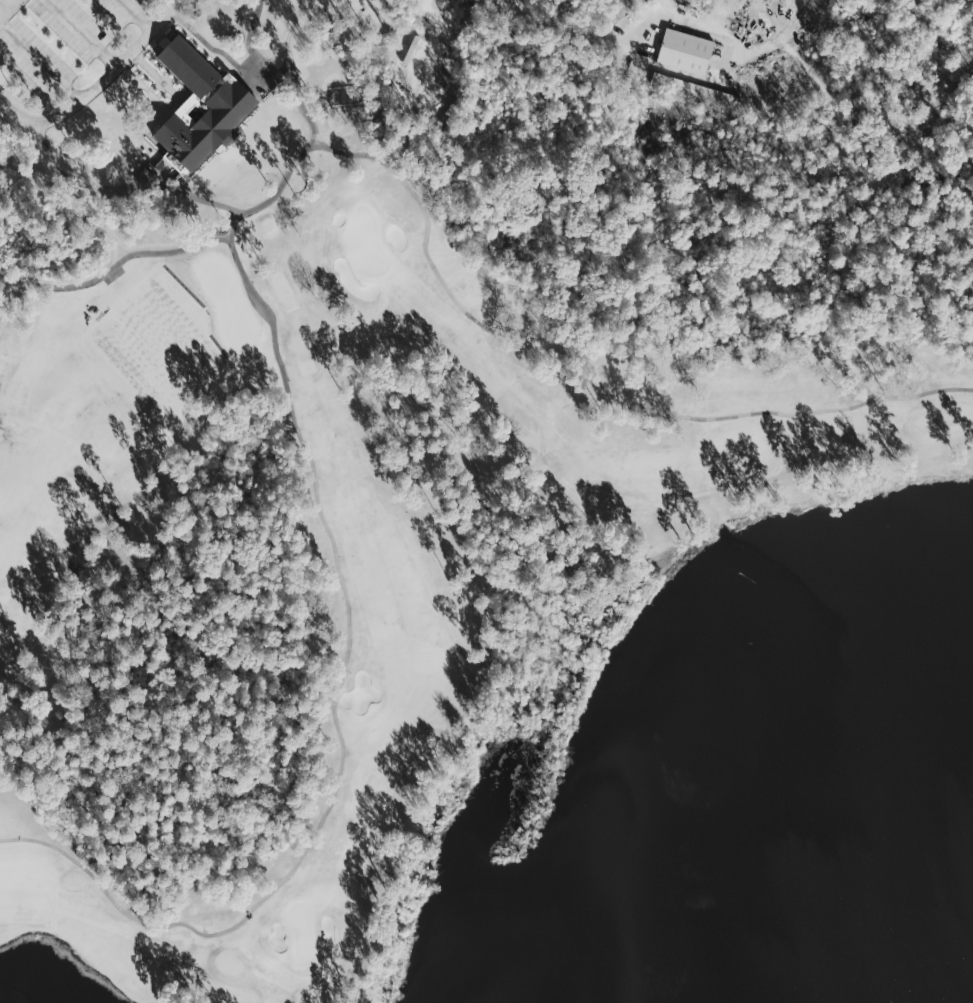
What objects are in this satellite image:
road: (10, 10)
road: (138, 13)
road: (656, 14)
road: (318, 15)
road: (719, 32)
road: (84, 33)
road: (430, 43)
building: (685, 51)
road: (41, 60)
road: (96, 85)
building: (202, 106)
road: (84, 191)
road: (225, 206)
road: (109, 227)
park: (366, 242)
road: (125, 246)
road: (114, 265)
park: (179, 317)
road: (591, 380)
park: (436, 444)
road: (339, 570)
park: (301, 930)

